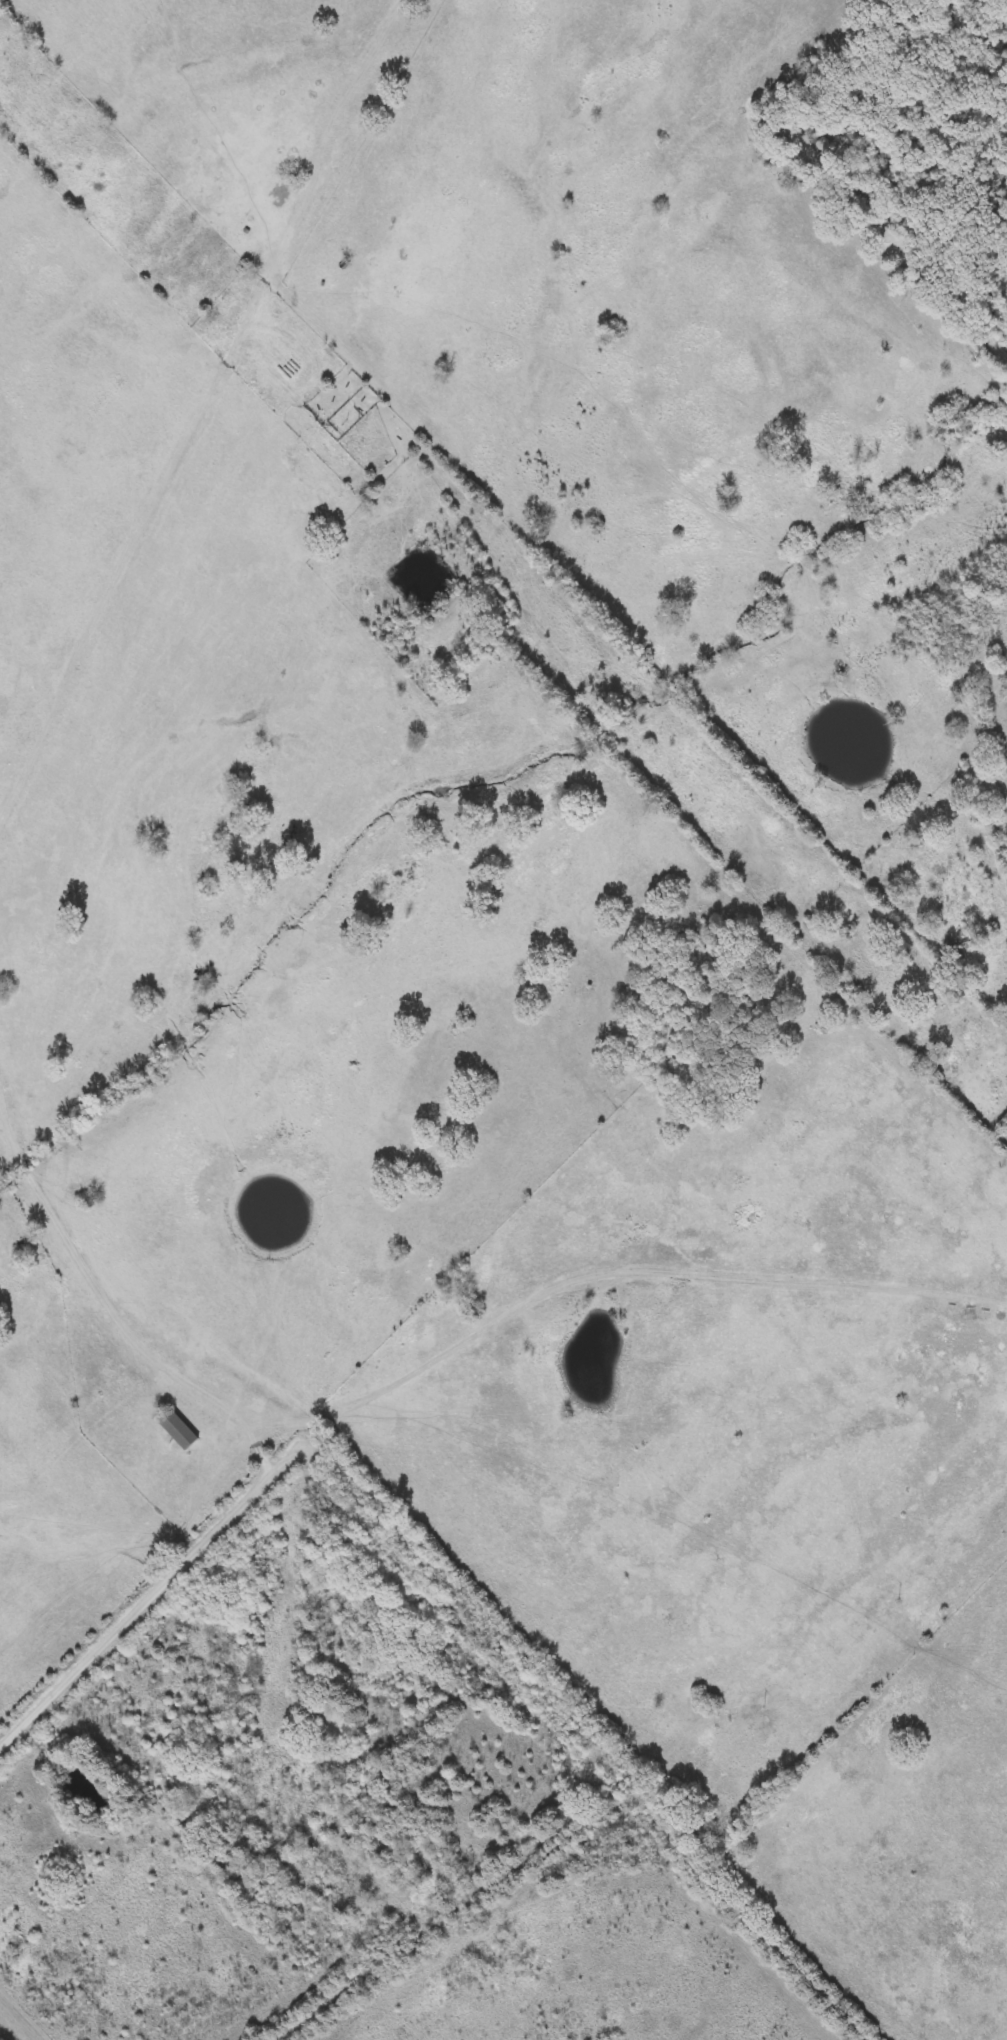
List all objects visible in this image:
road: (109, 1305)
building: (178, 1431)
road: (138, 1608)
road: (579, 1729)

